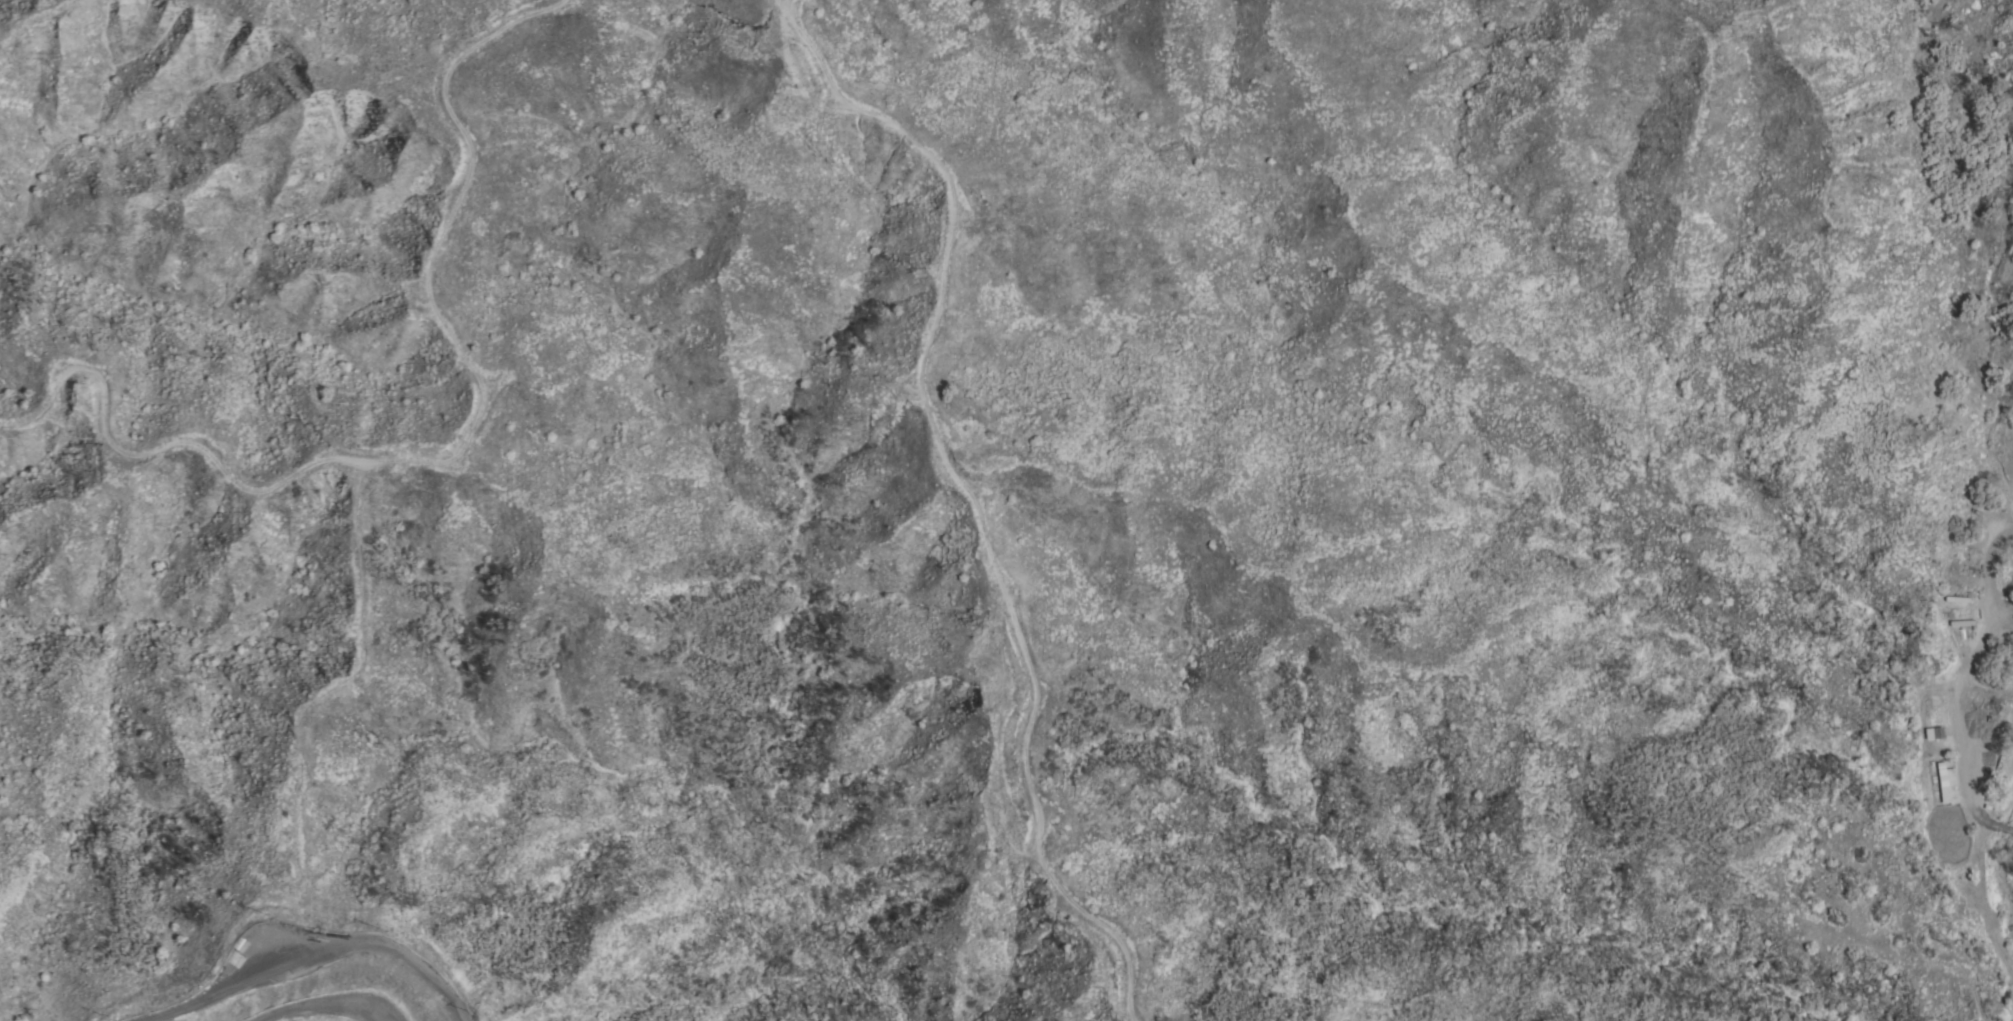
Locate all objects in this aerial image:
road: (790, 5)
road: (783, 6)
road: (788, 6)
road: (440, 455)
road: (974, 496)
road: (1953, 685)
building: (1935, 733)
road: (317, 951)
landfill: (309, 975)

